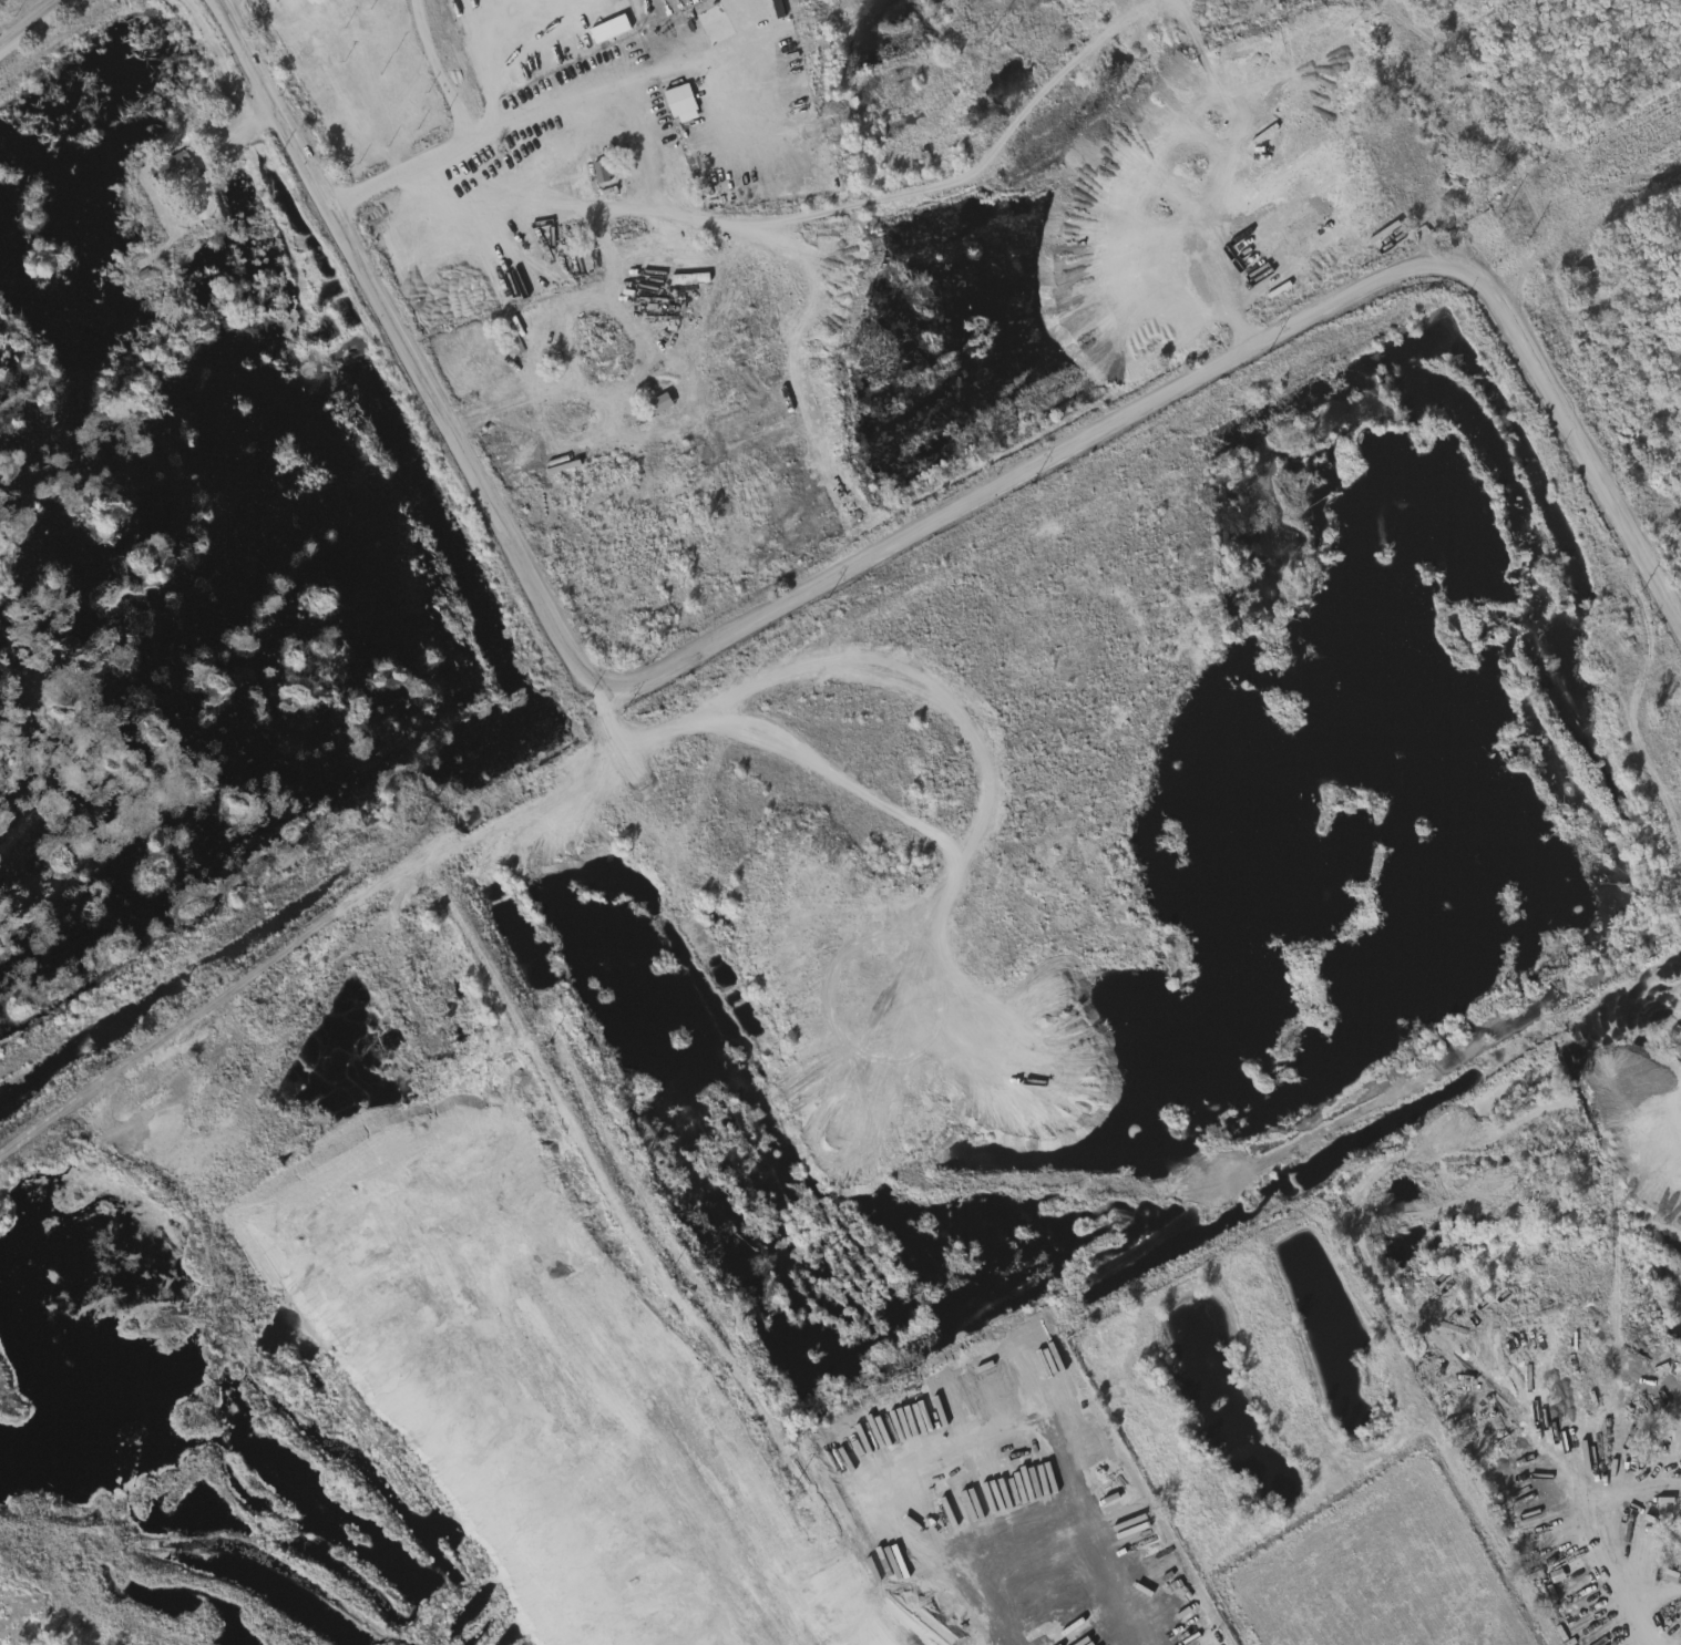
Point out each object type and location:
road: (42, 31)
road: (484, 137)
building: (163, 165)
road: (154, 319)
road: (864, 565)
road: (176, 682)
building: (1653, 1036)
road: (377, 1073)
road: (1619, 1597)
road: (1654, 1603)

